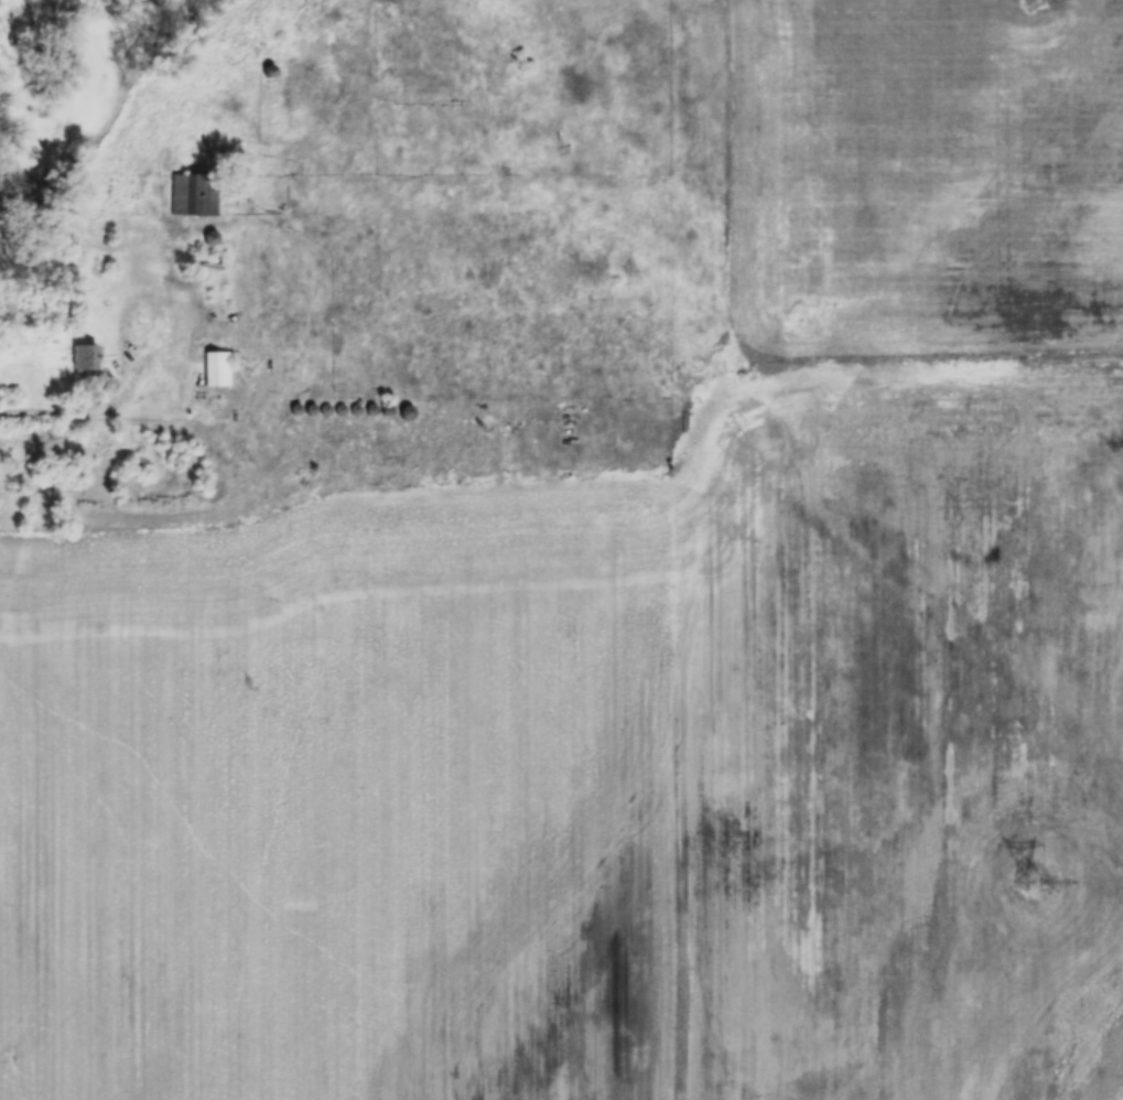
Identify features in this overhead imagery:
building: (194, 195)
building: (84, 358)
building: (212, 368)
power tower: (1025, 882)

